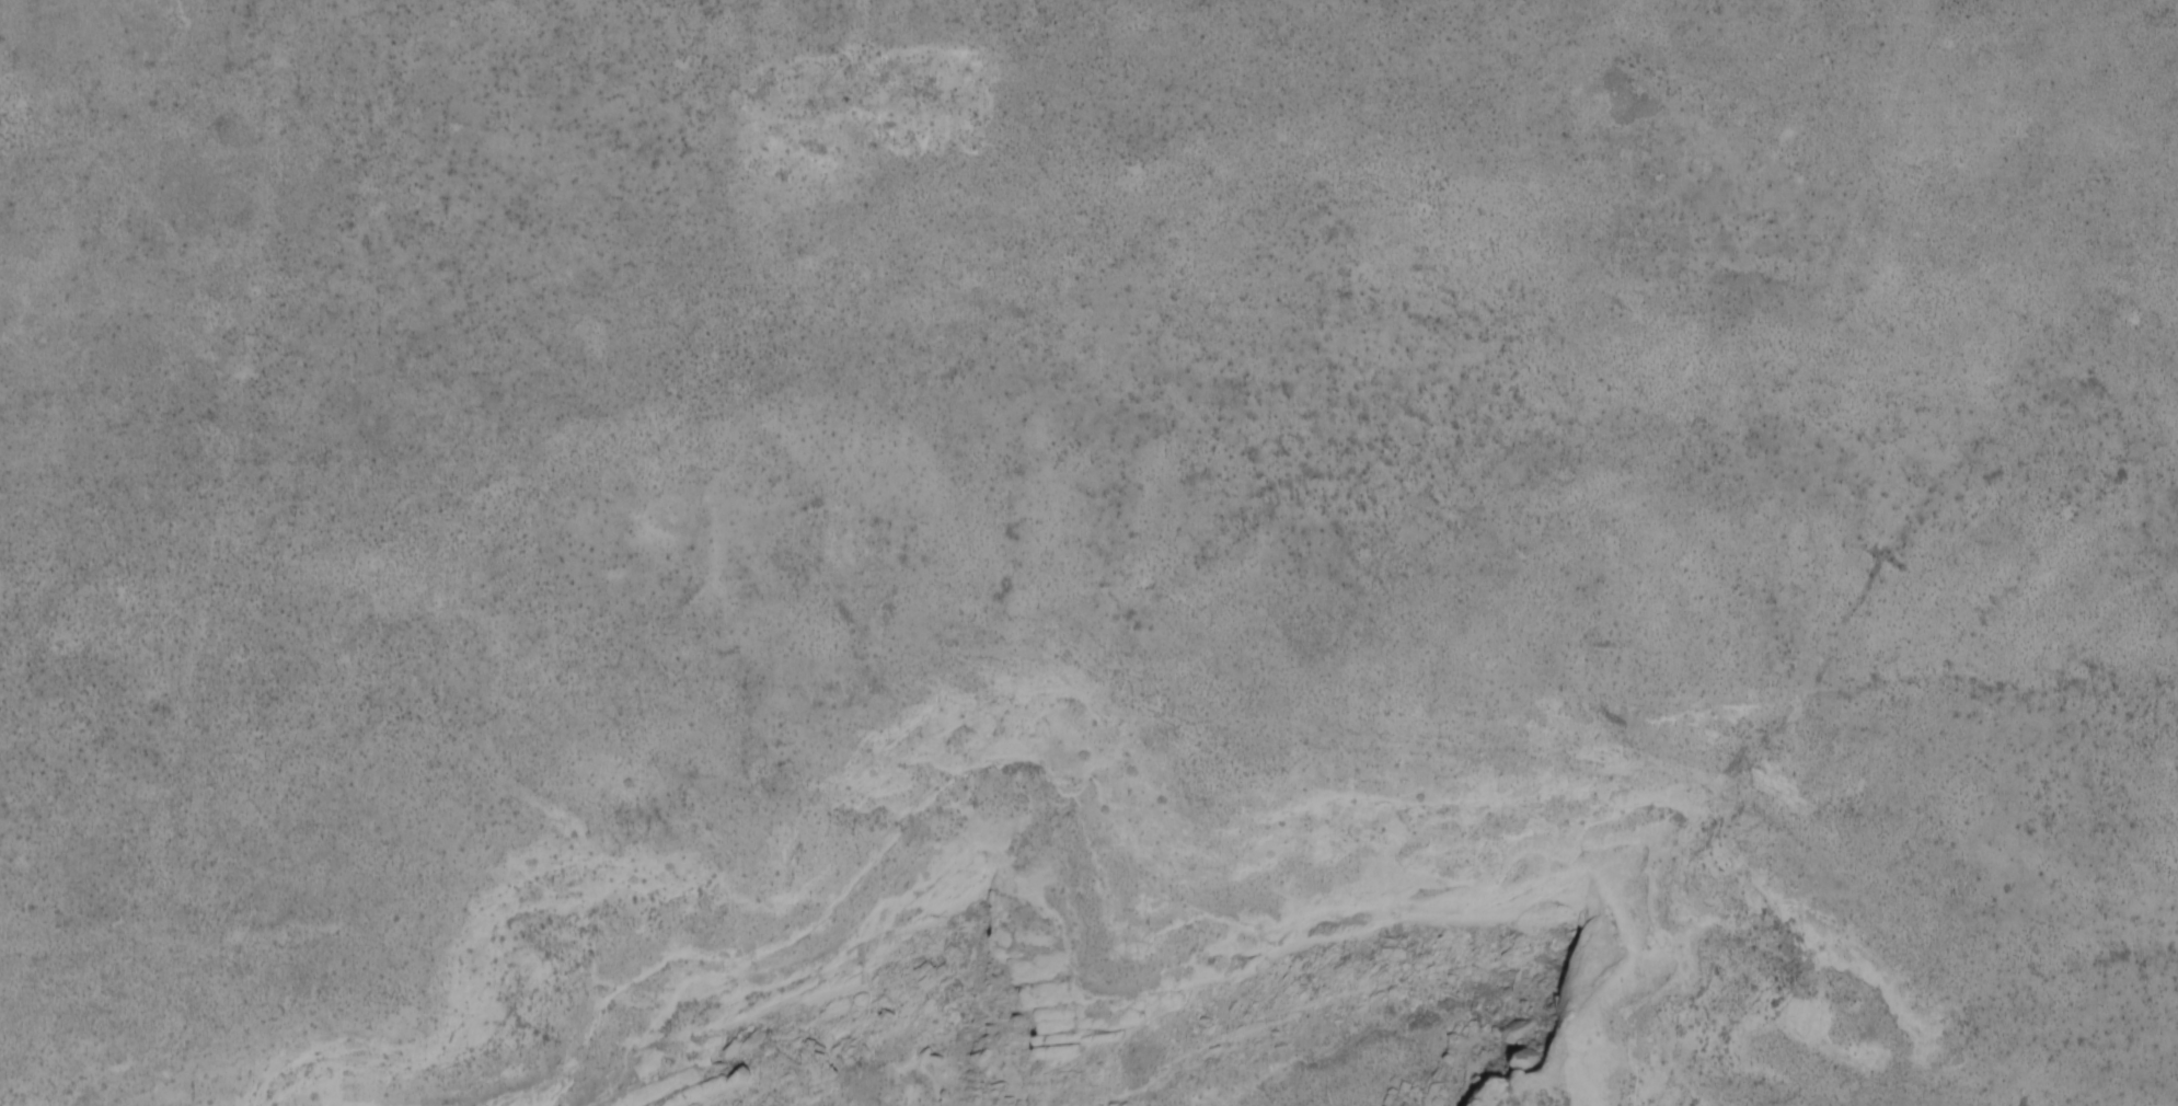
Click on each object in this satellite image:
road: (1079, 918)
road: (4, 1103)

